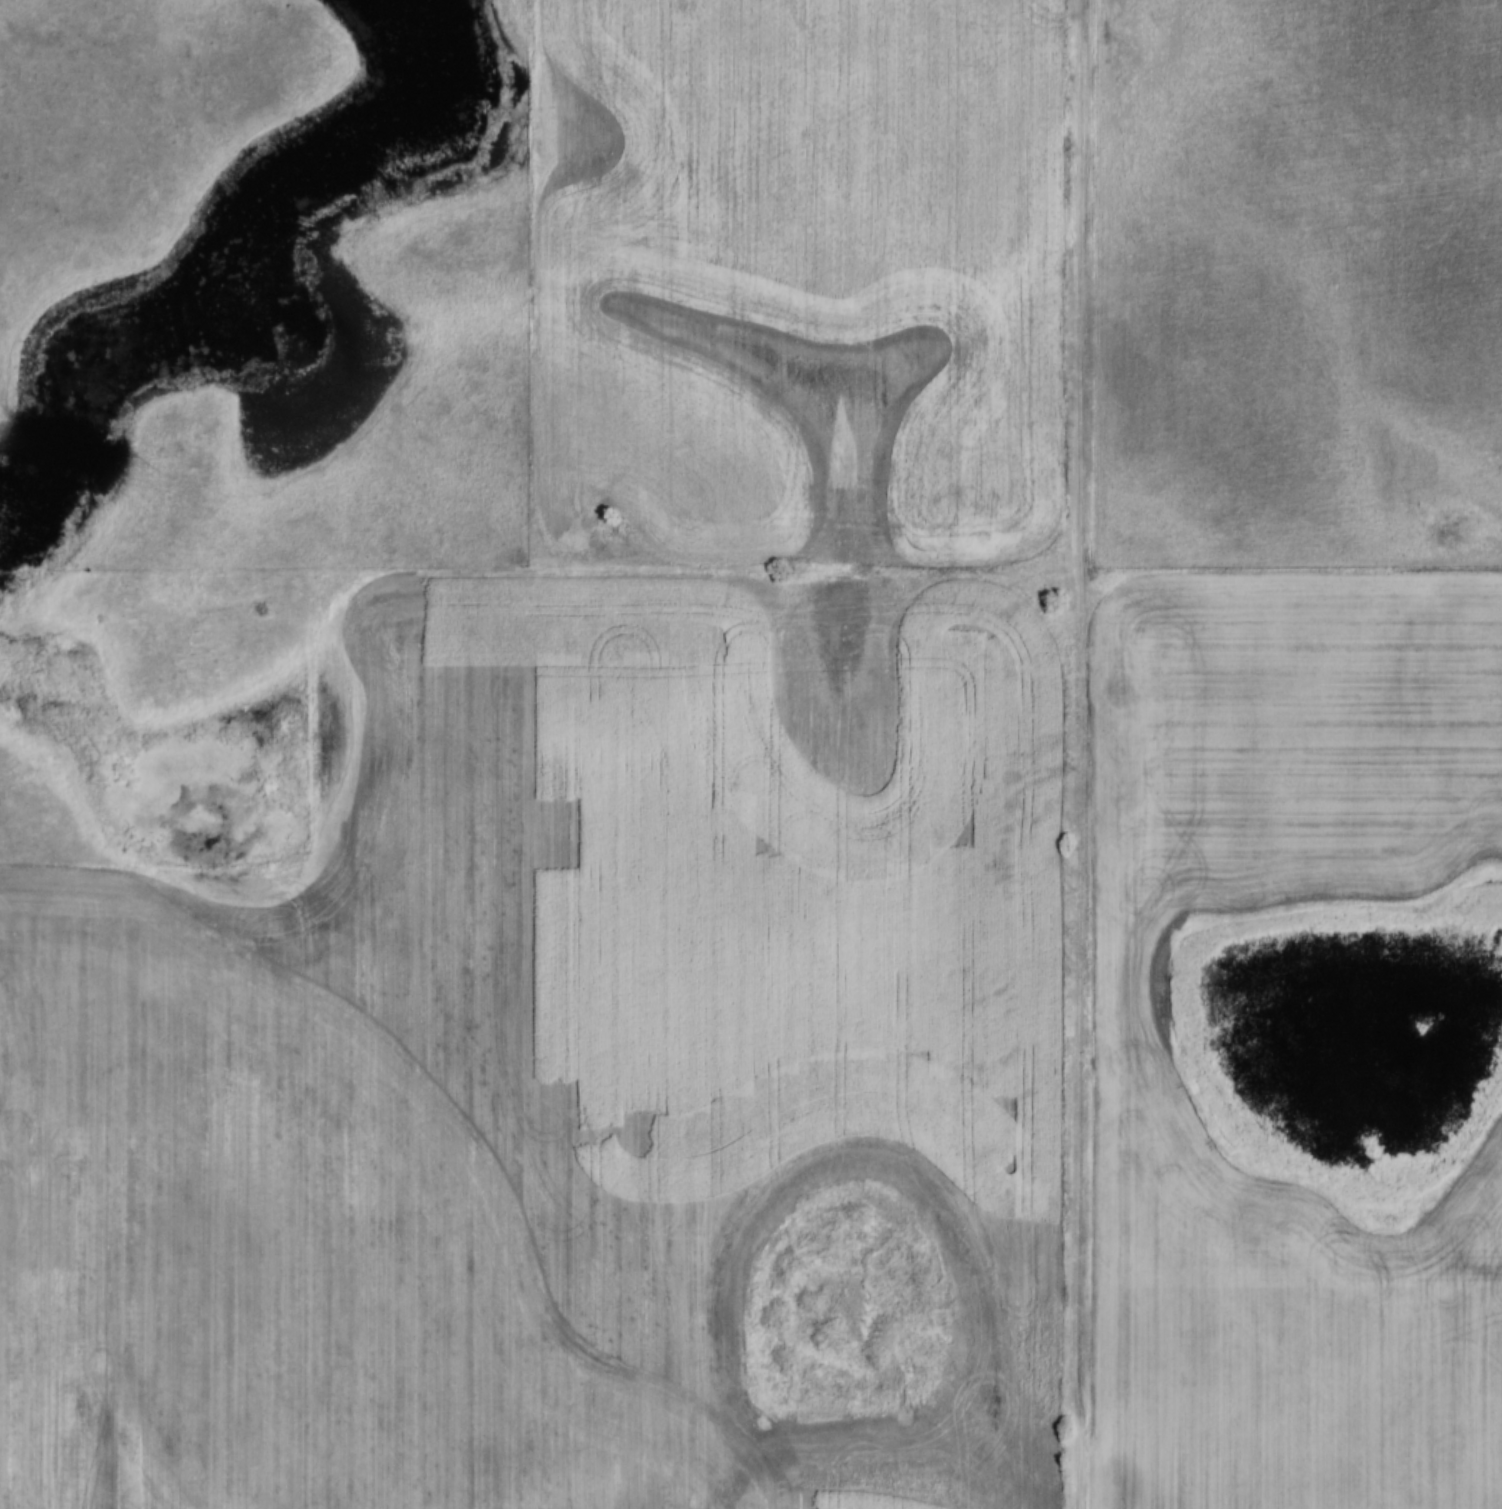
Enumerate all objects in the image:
road: (1084, 754)

